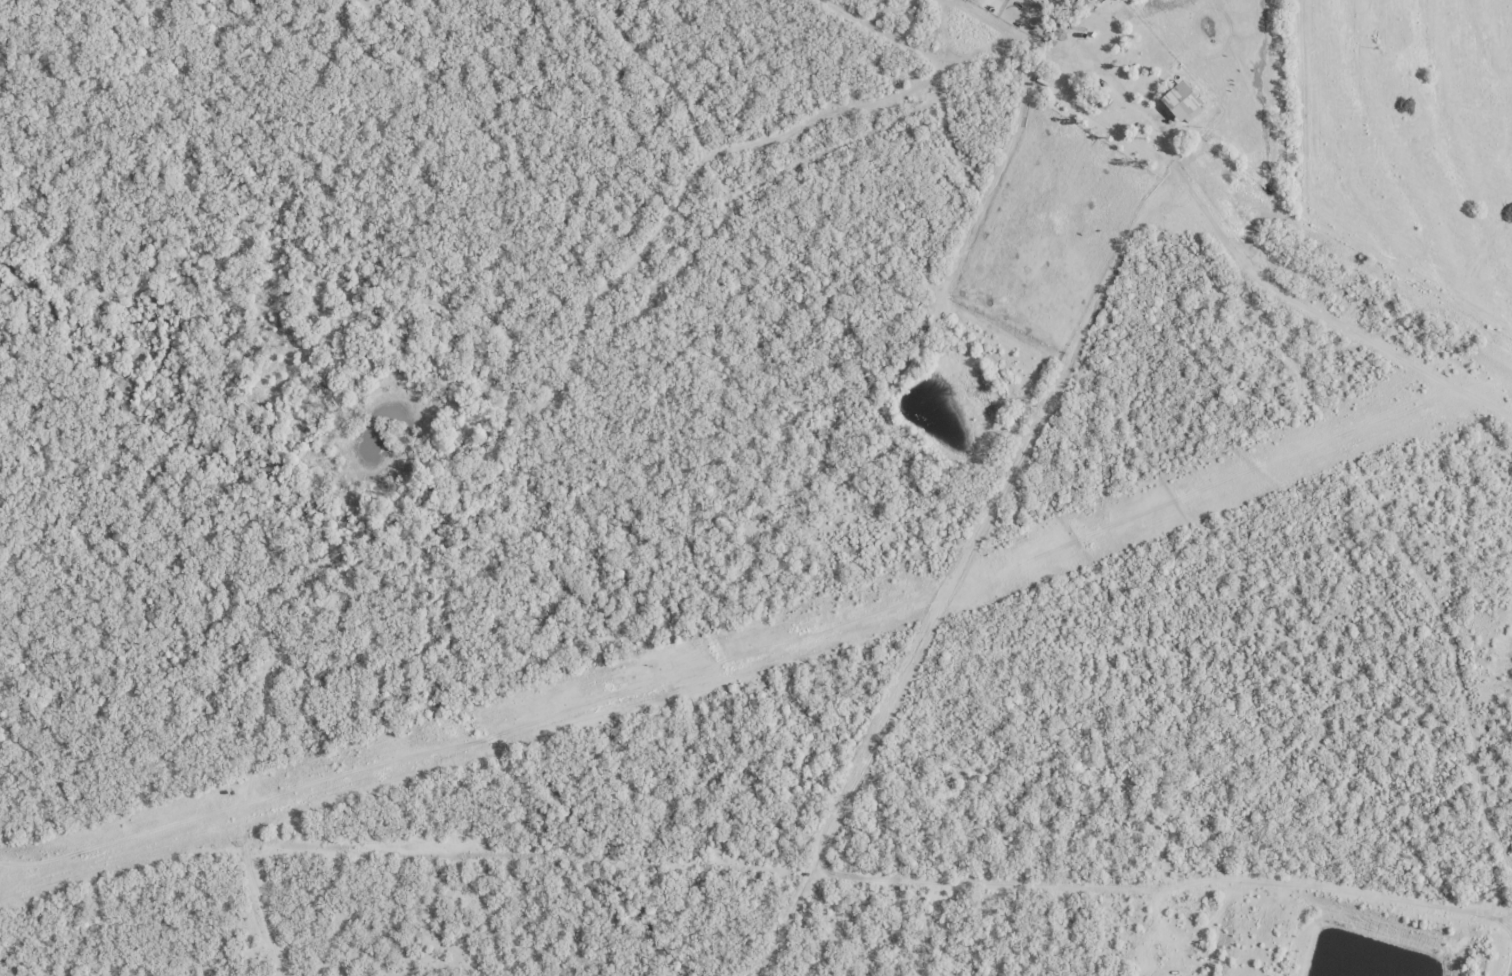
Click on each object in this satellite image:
building: (1083, 0)
building: (1175, 101)

